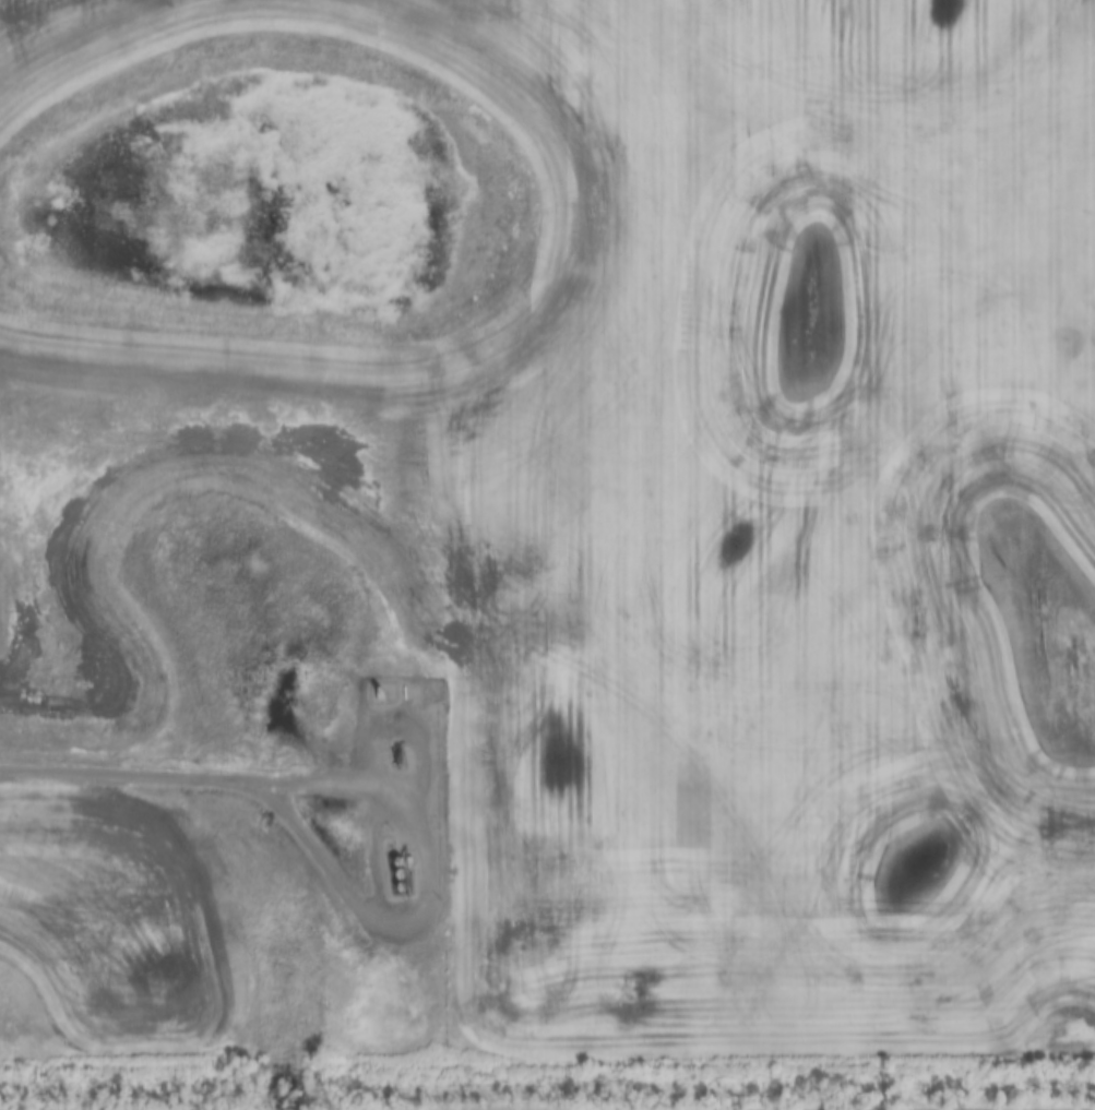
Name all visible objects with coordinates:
road: (130, 769)
road: (405, 884)

